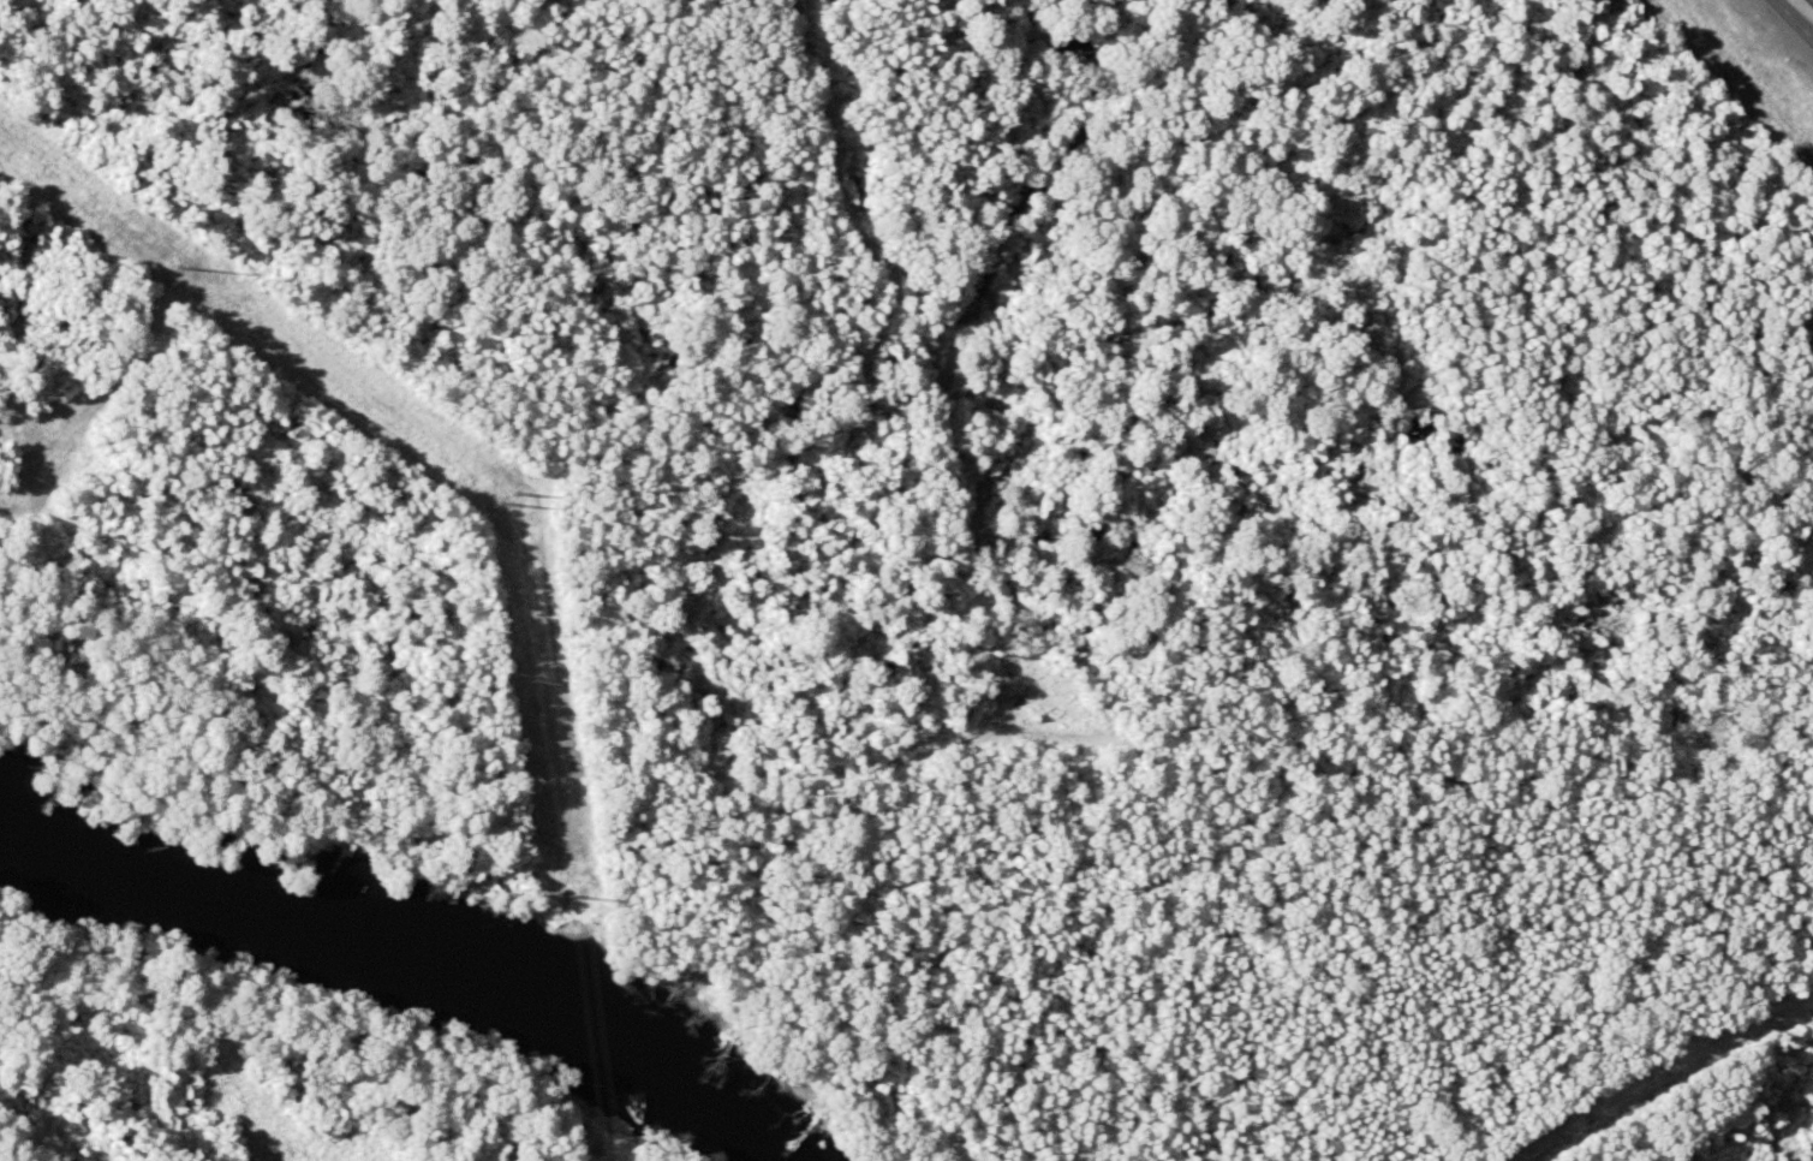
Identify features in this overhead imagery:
road: (1790, 22)
river: (405, 957)

